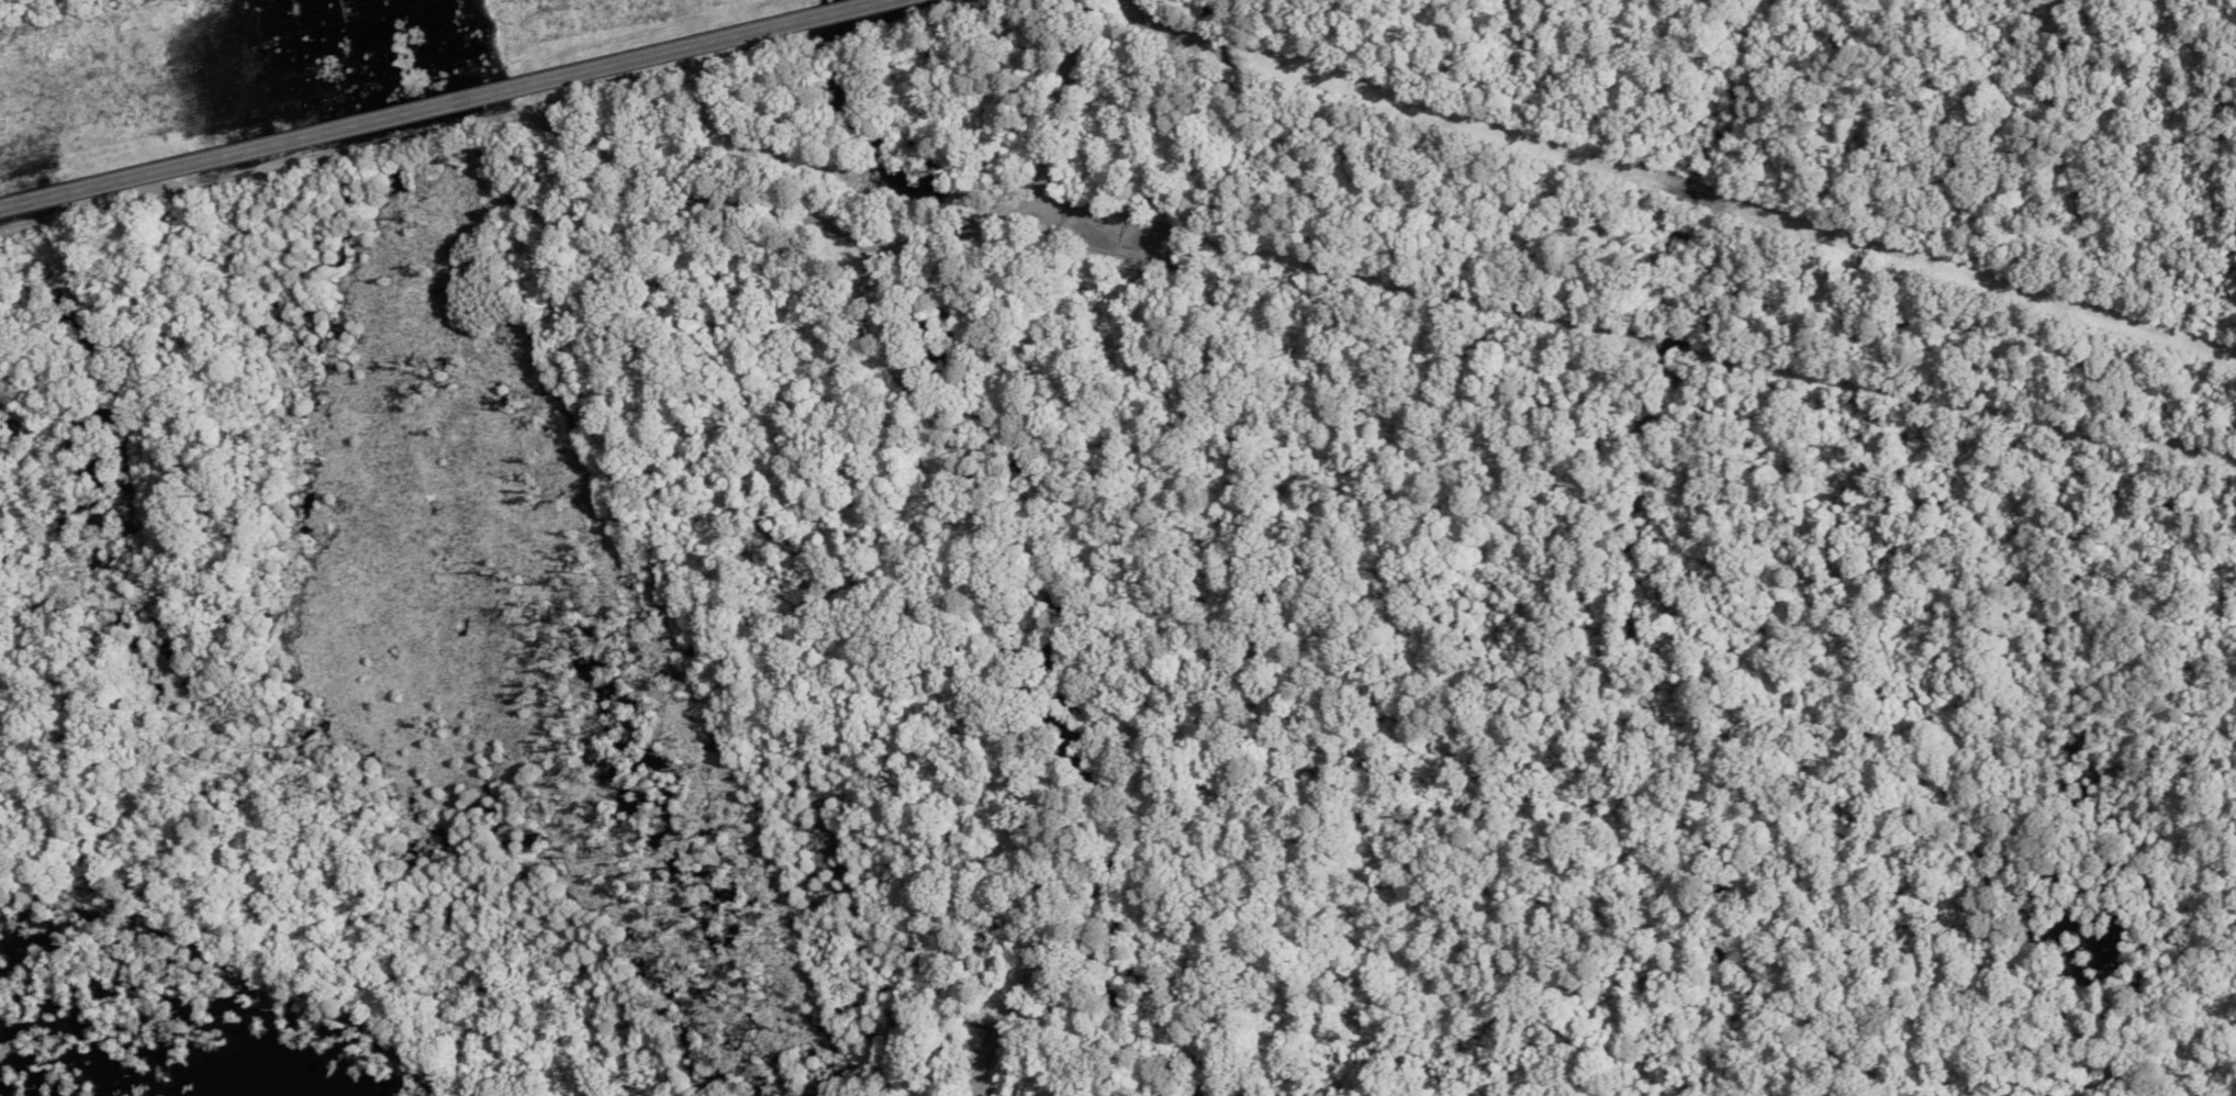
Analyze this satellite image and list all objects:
power tower: (351, 9)
road: (447, 104)
road: (965, 483)

